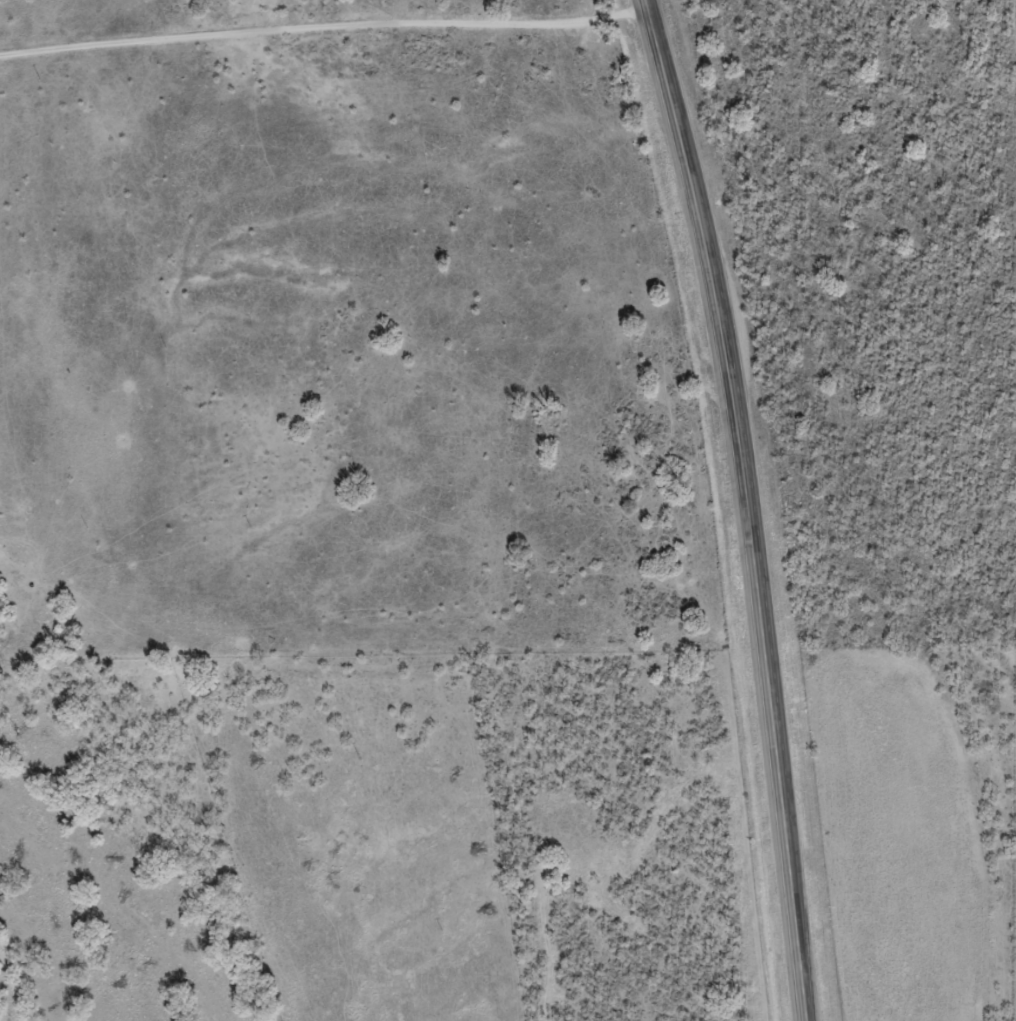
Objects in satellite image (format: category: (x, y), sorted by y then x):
road: (753, 506)

